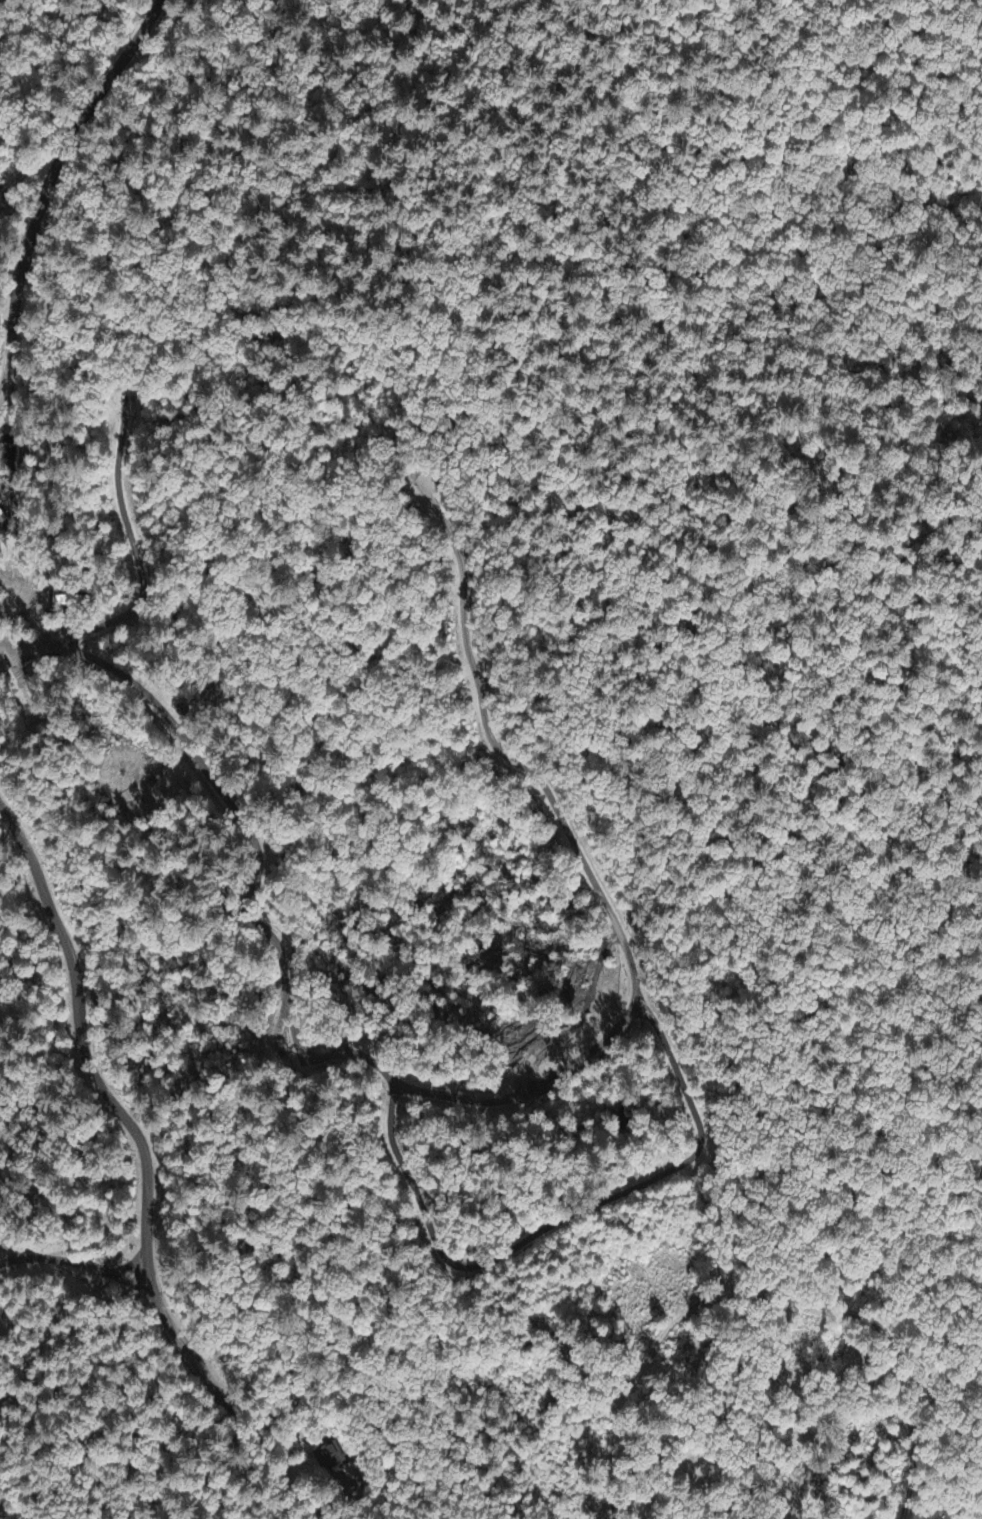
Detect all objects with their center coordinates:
road: (45, 183)
building: (1, 187)
road: (144, 1162)
road: (722, 1295)
building: (336, 1467)
road: (427, 1498)

